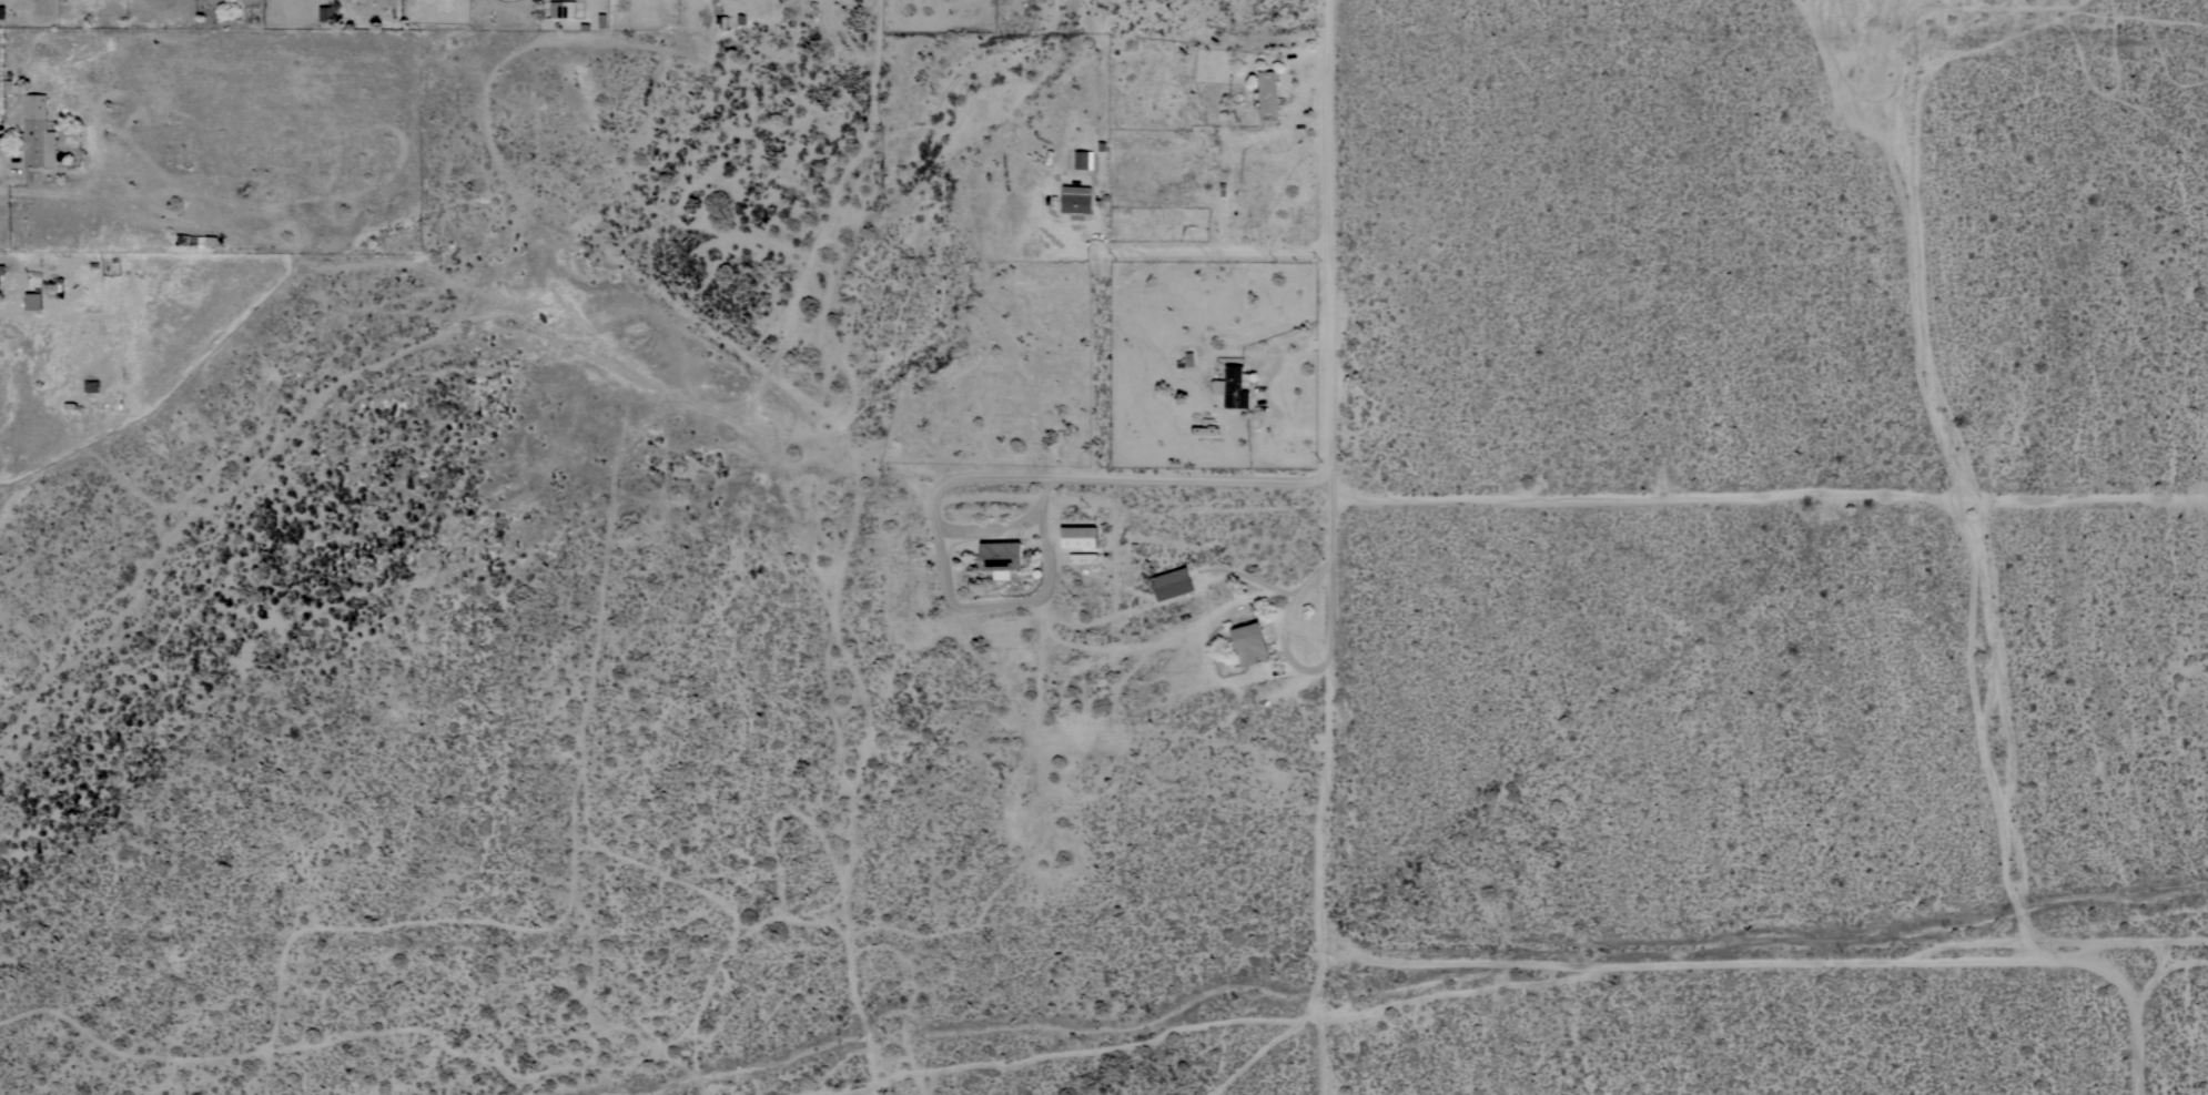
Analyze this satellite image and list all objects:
building: (97, 1)
building: (563, 9)
building: (2, 12)
building: (325, 12)
building: (1267, 94)
building: (37, 133)
building: (1076, 201)
building: (182, 239)
road: (1914, 240)
road: (1191, 252)
building: (2, 271)
building: (58, 284)
building: (33, 301)
building: (91, 386)
building: (1233, 386)
road: (1135, 481)
road: (1771, 496)
road: (994, 525)
building: (1080, 537)
road: (1331, 547)
building: (1001, 557)
building: (1172, 584)
road: (994, 602)
building: (1249, 645)

